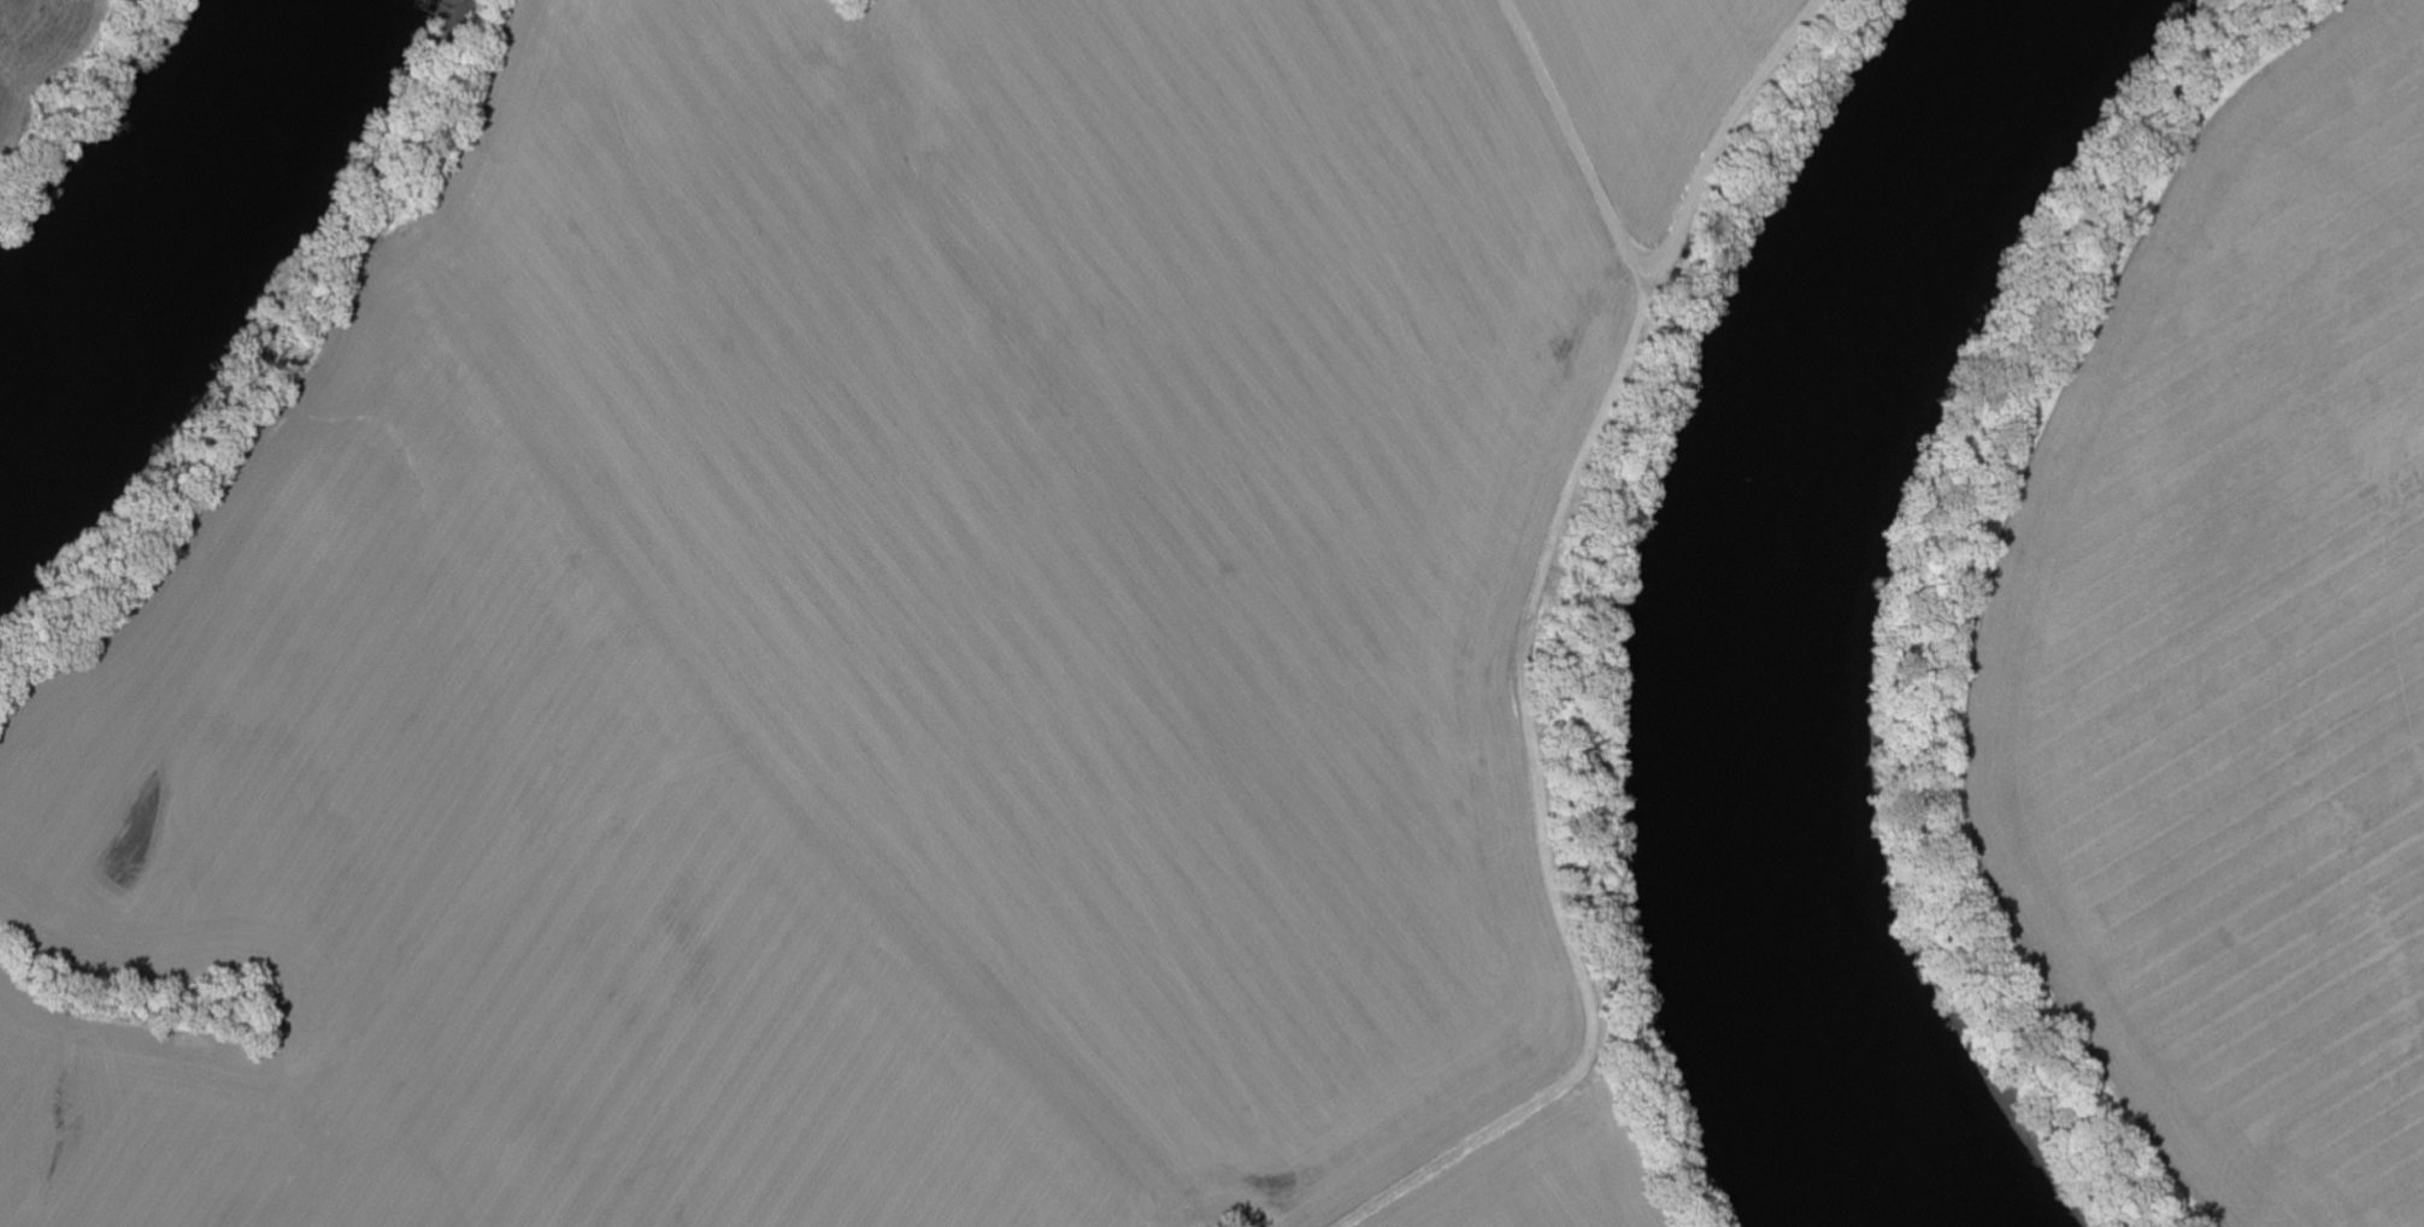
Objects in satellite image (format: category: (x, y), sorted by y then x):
river: (146, 197)
river: (1720, 596)

